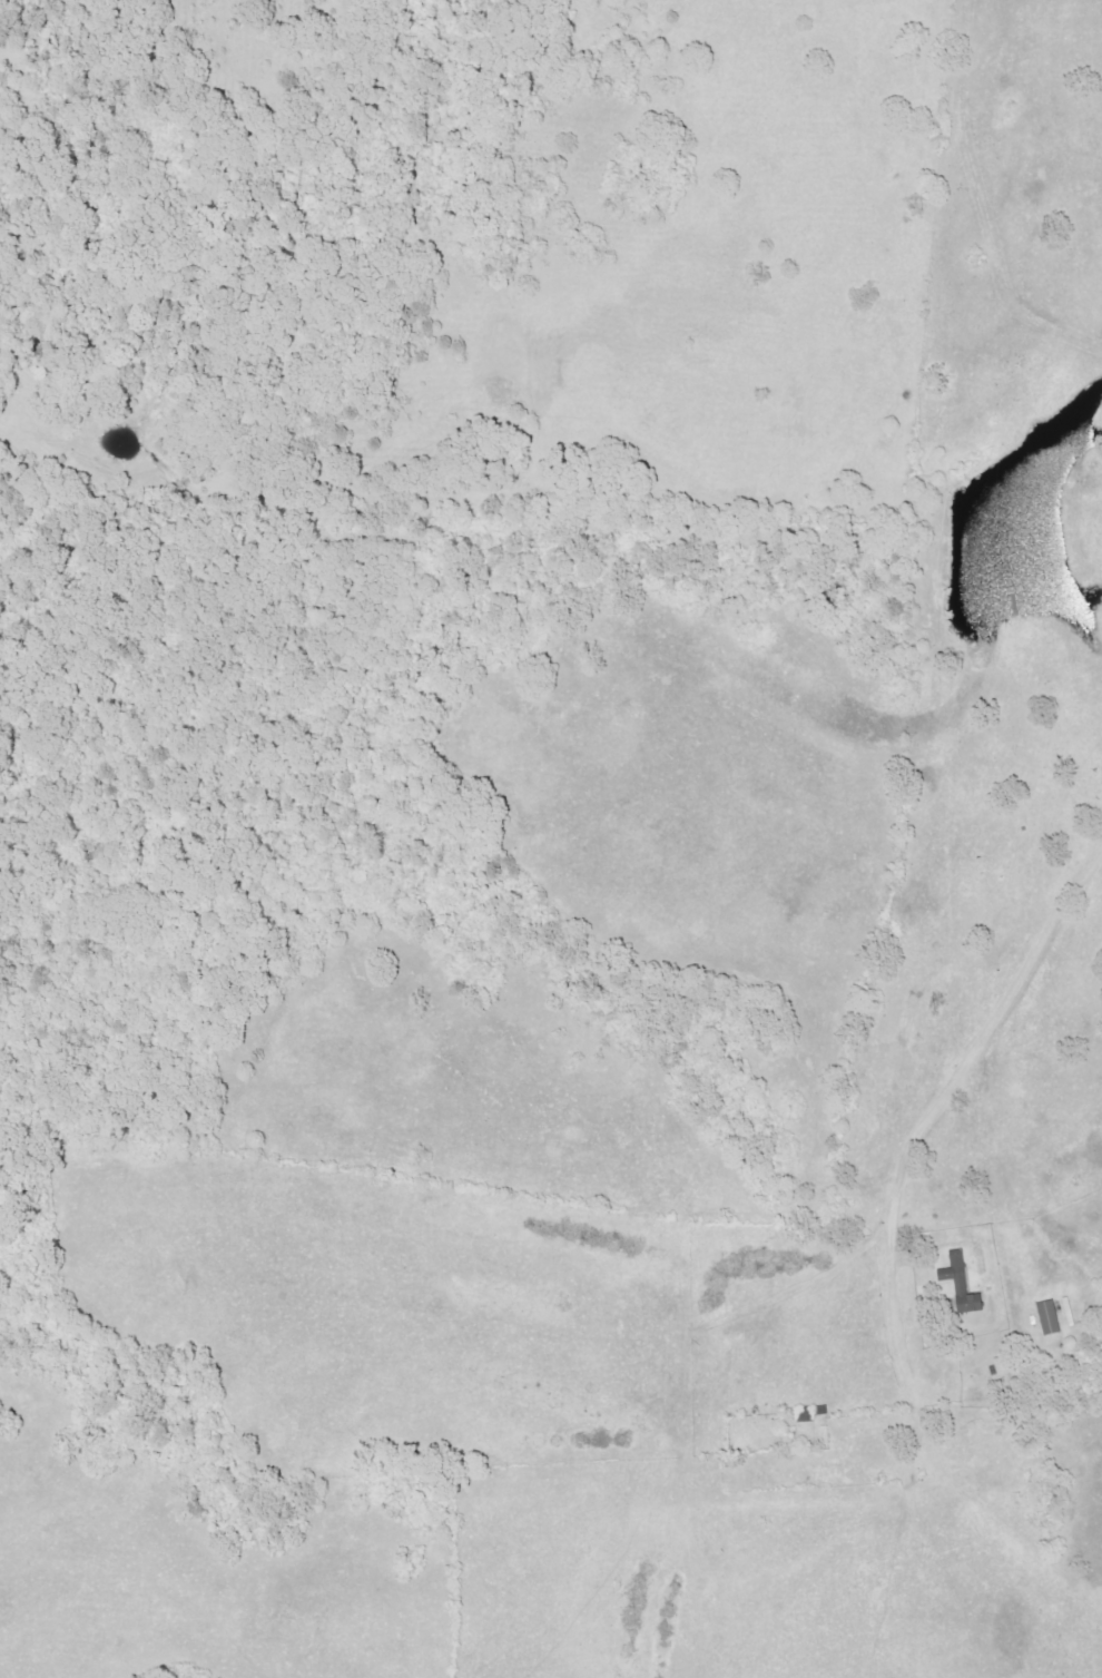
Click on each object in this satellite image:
road: (993, 151)
road: (882, 1218)
building: (963, 1284)
building: (1044, 1316)

